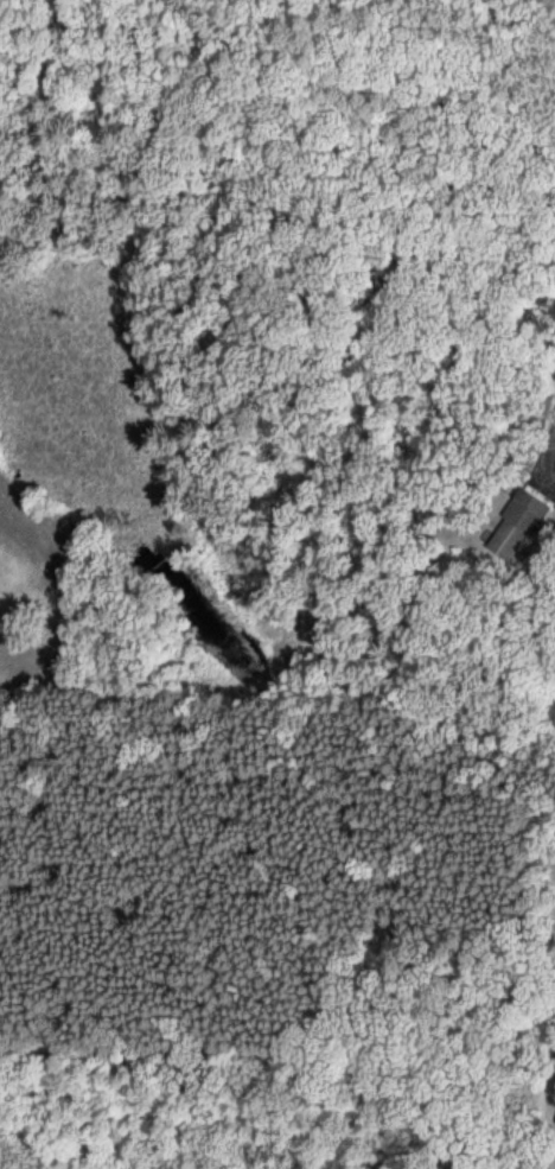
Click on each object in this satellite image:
road: (78, 42)
building: (523, 525)
road: (238, 790)
road: (272, 1164)

